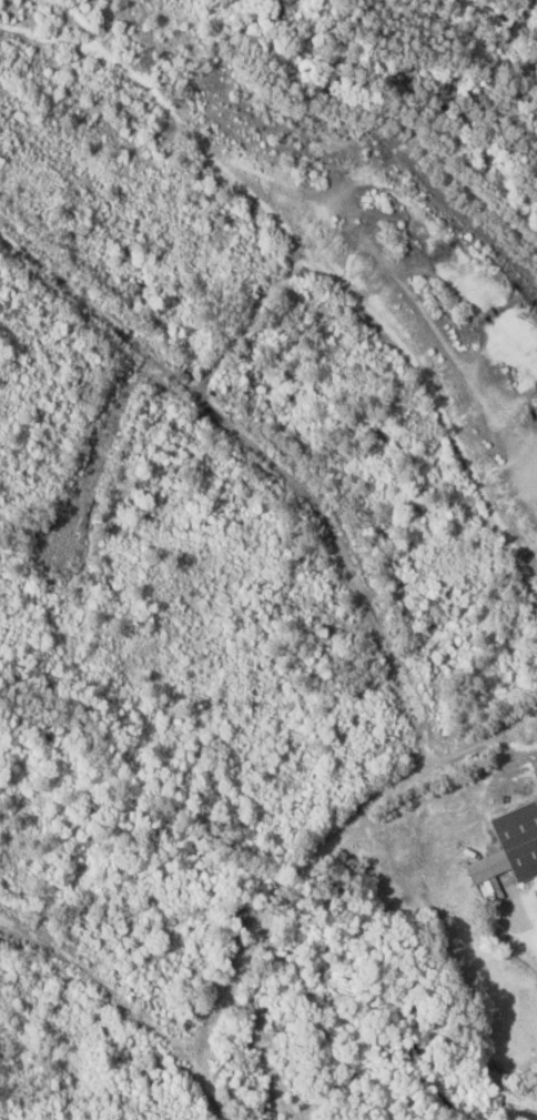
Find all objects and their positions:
building: (511, 845)

